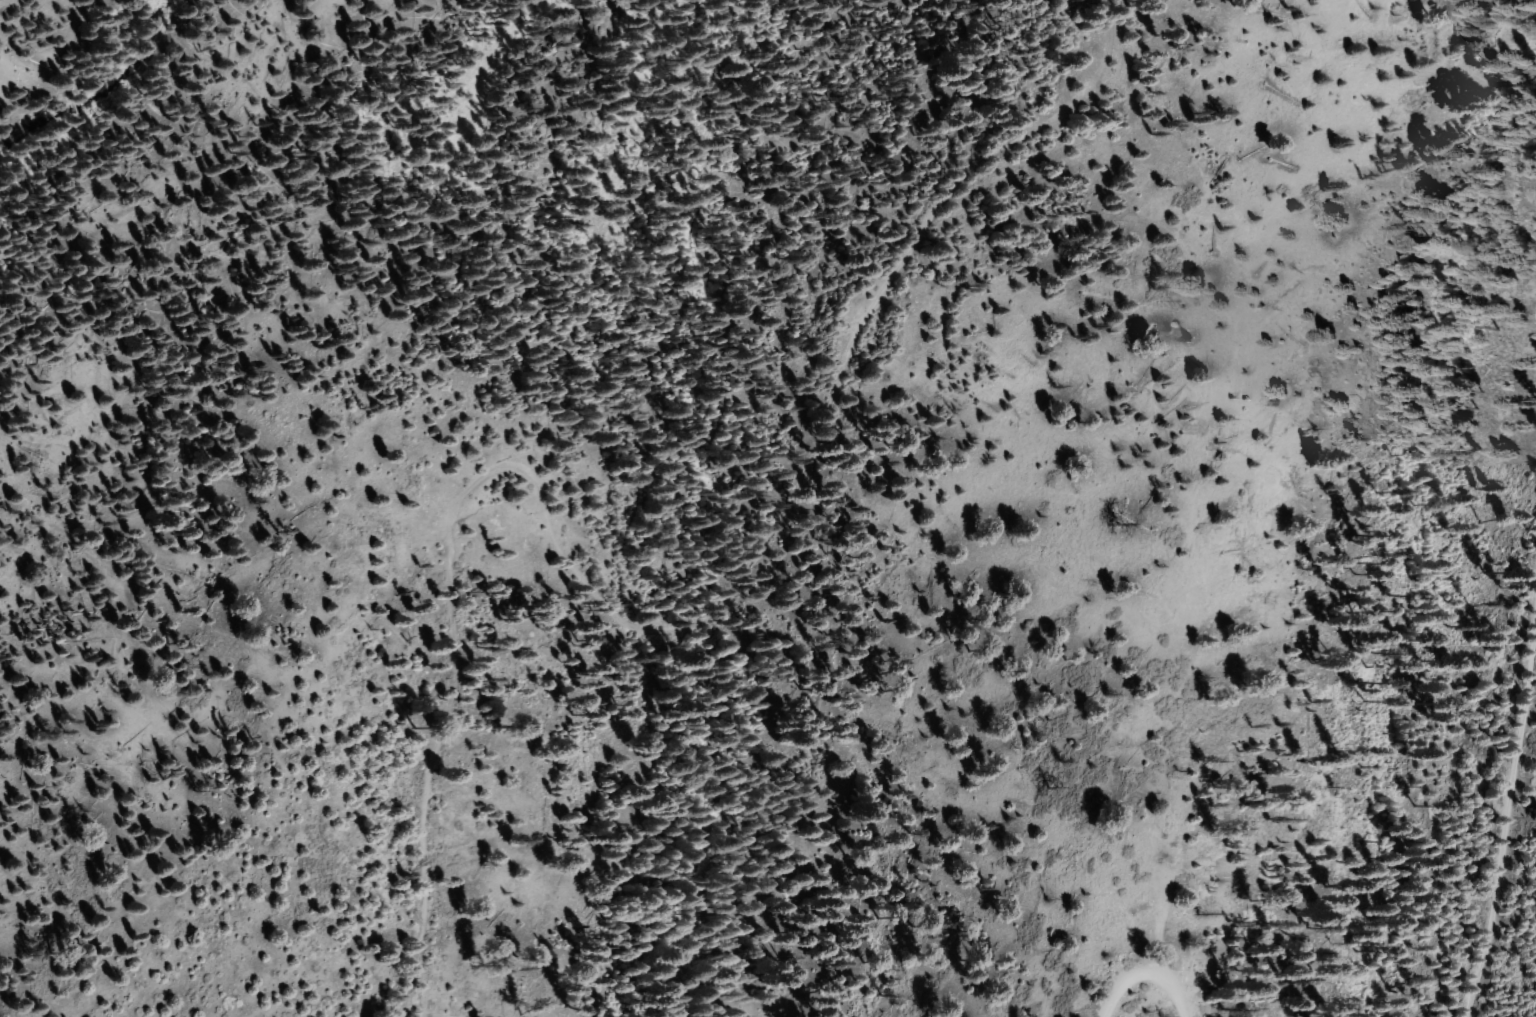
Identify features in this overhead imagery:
road: (36, 63)
road: (1466, 73)
road: (668, 650)
road: (1509, 806)
road: (1142, 970)

